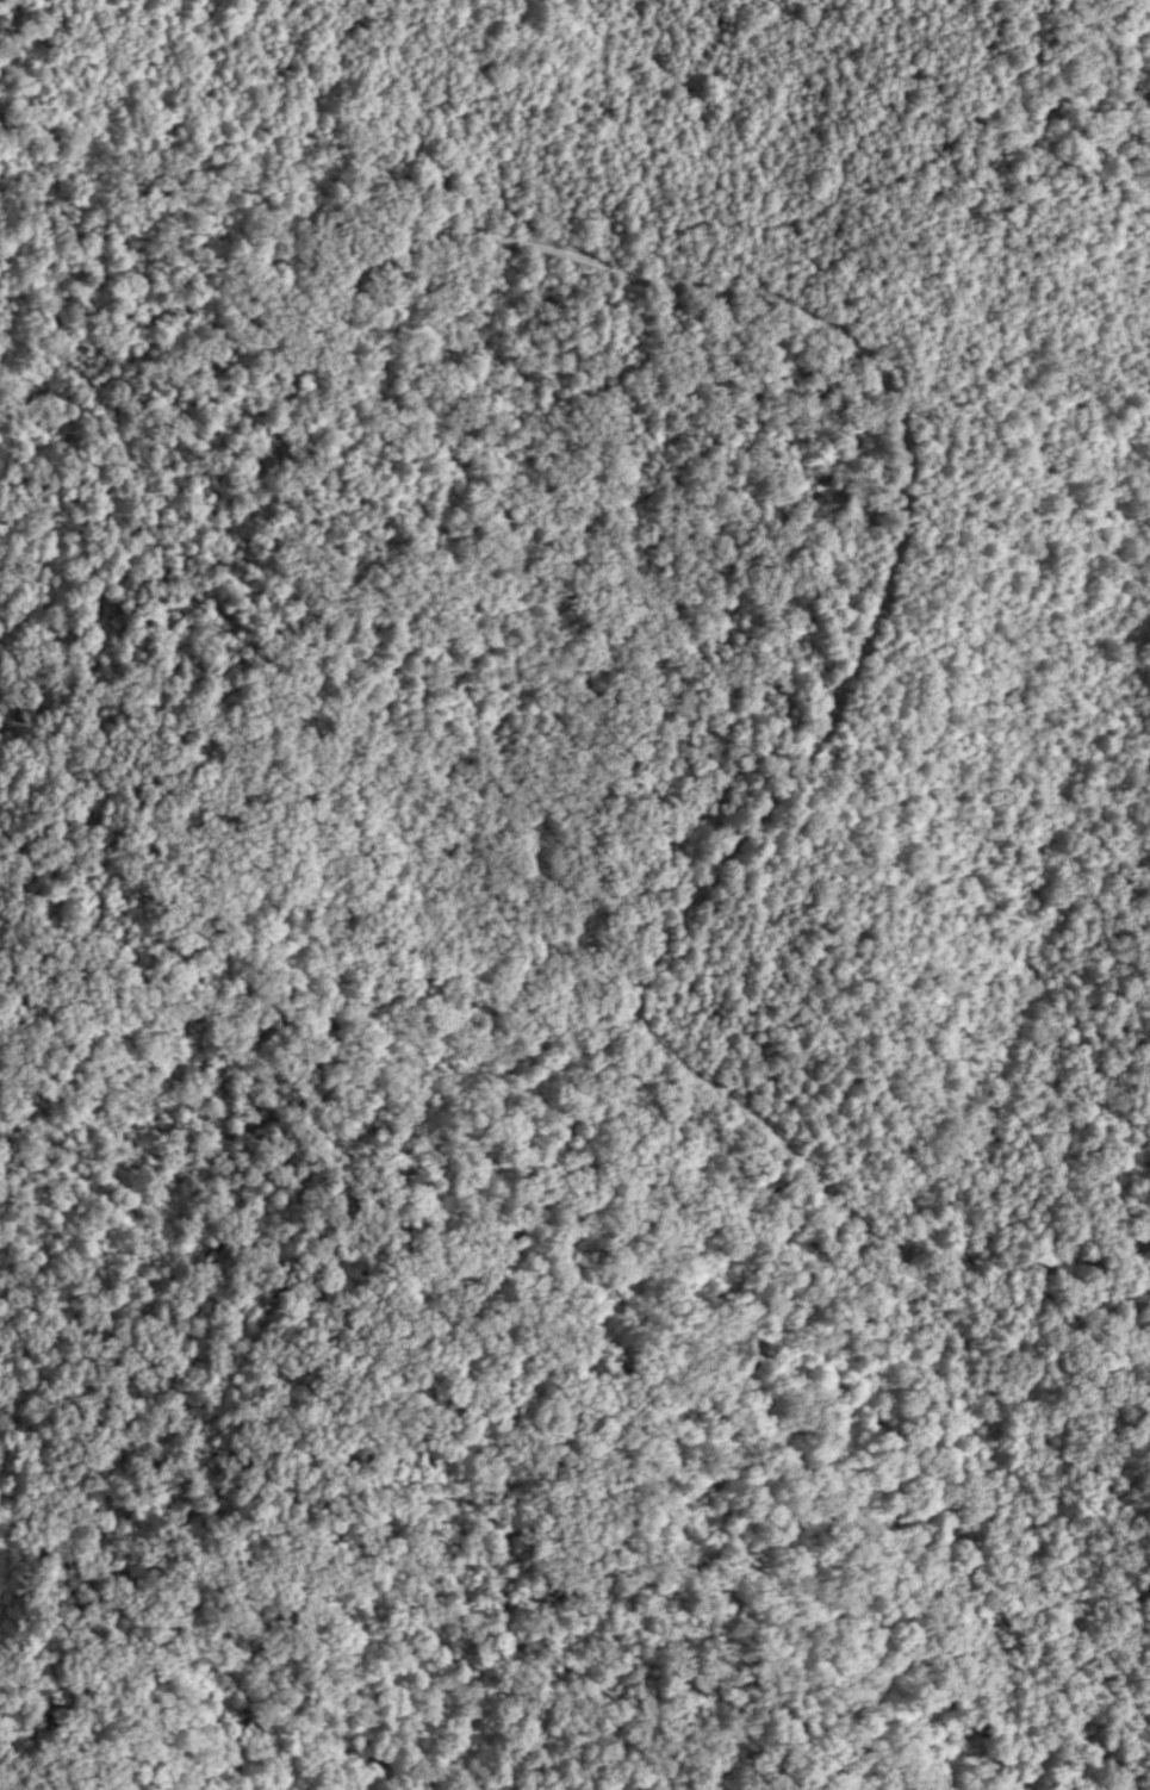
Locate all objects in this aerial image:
road: (862, 636)

